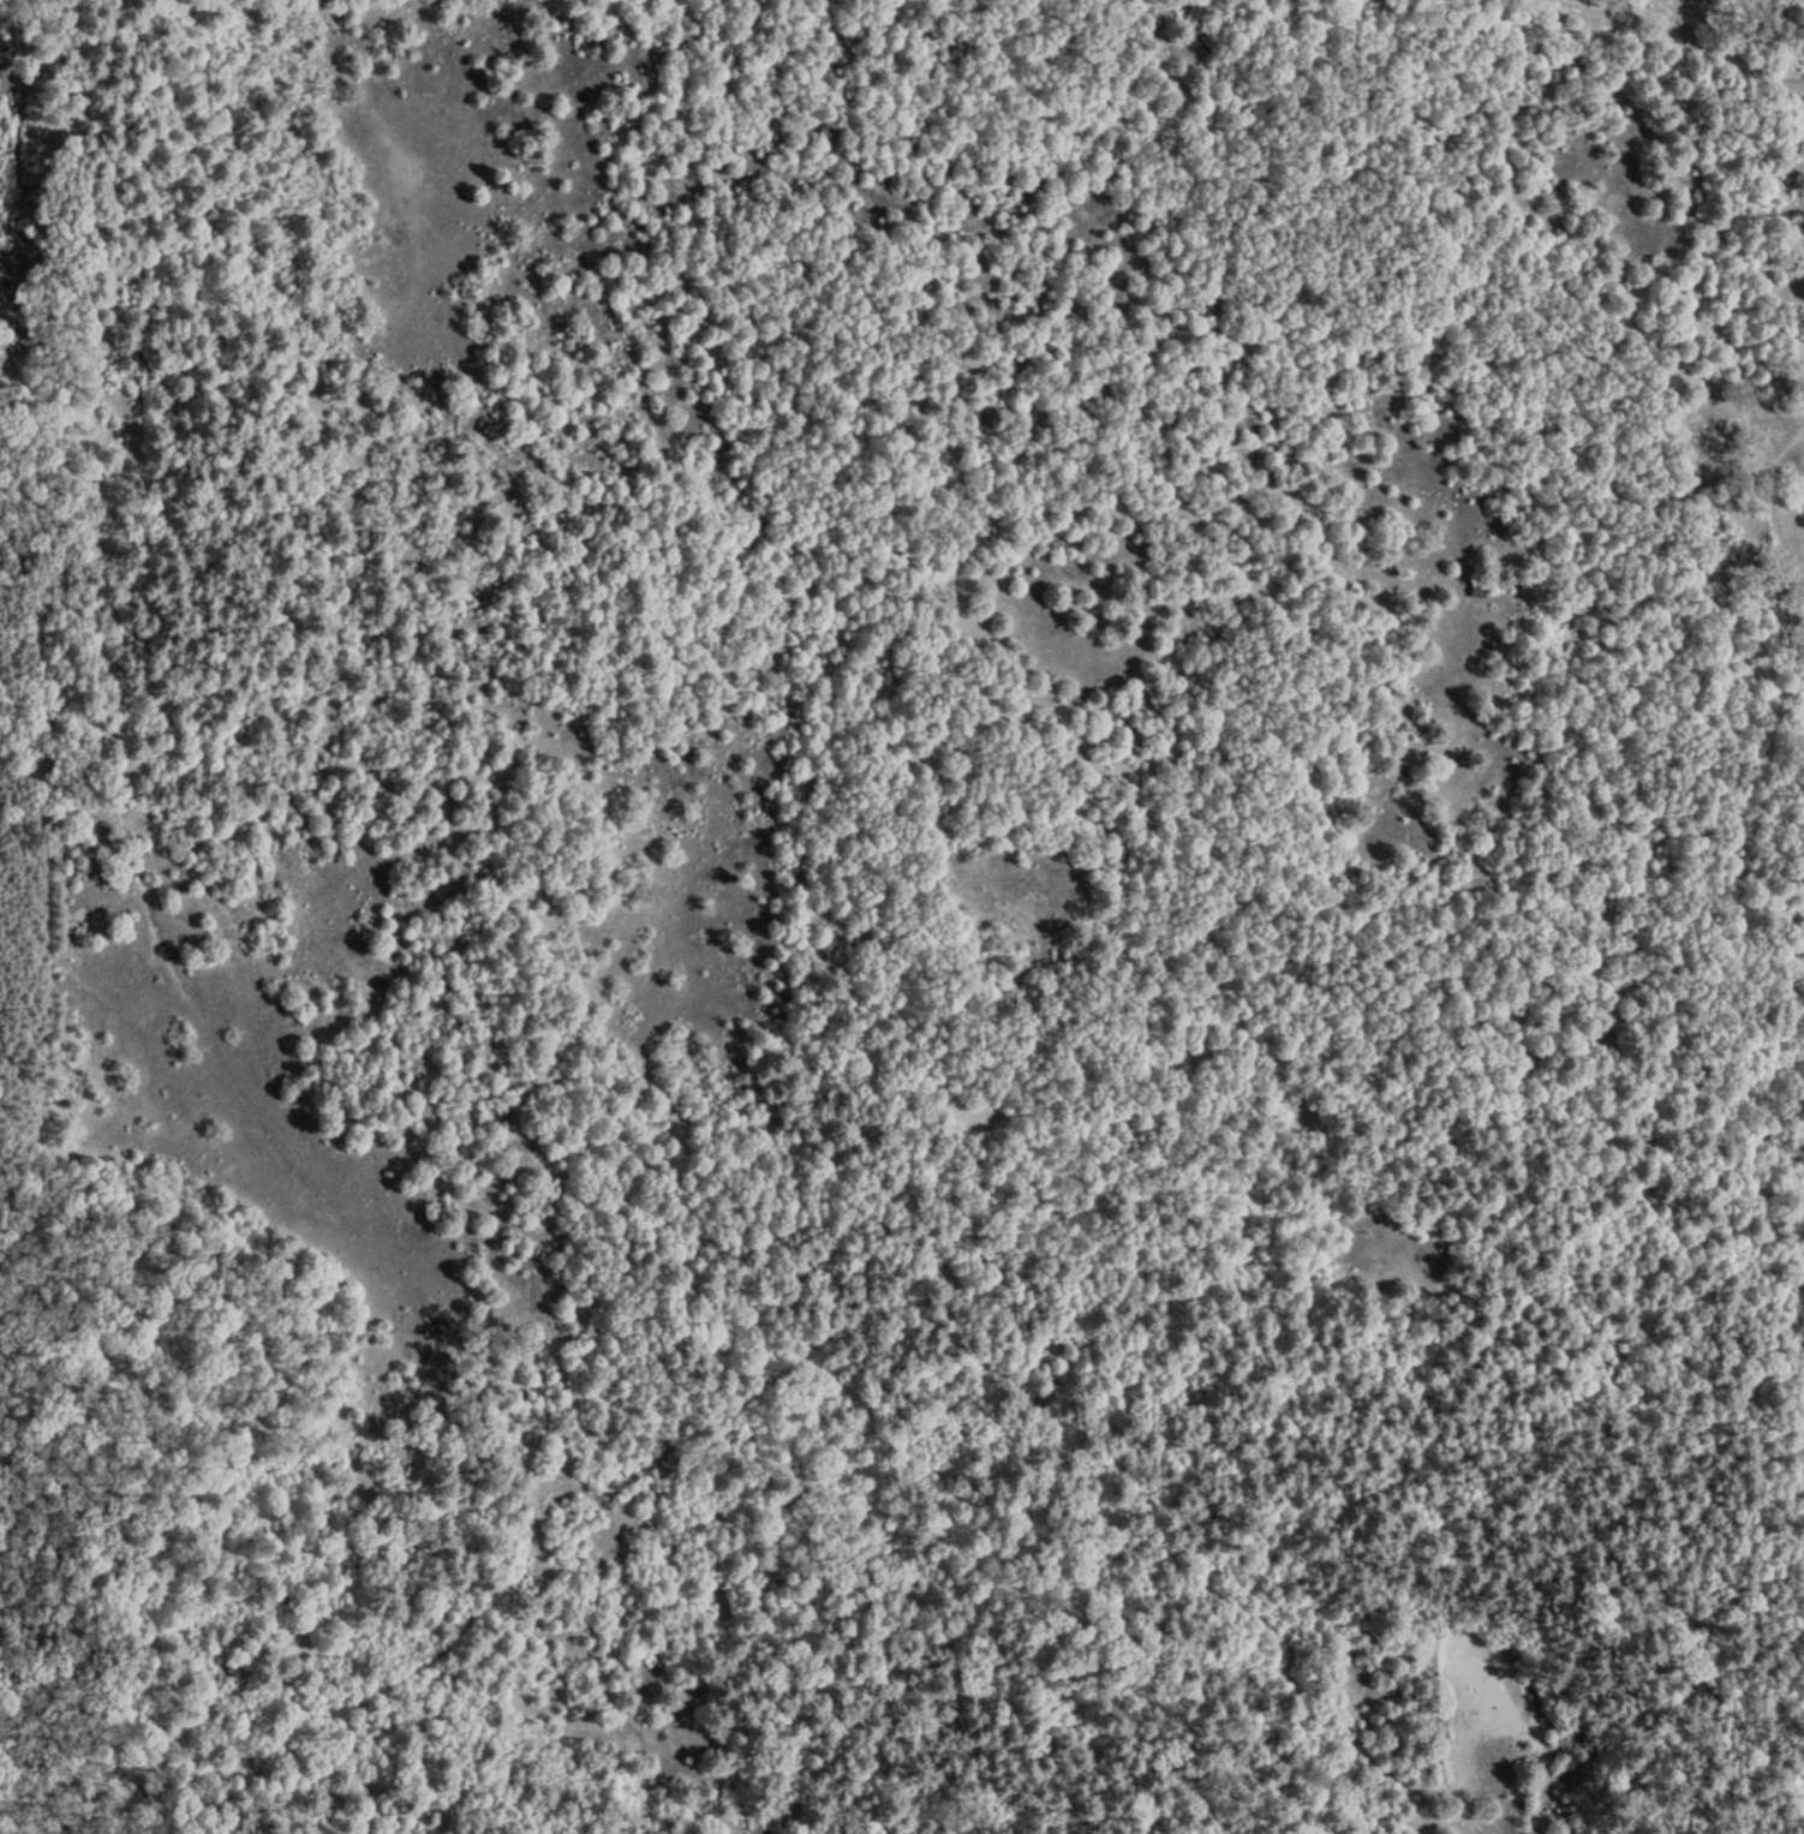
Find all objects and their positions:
building: (1476, 598)

